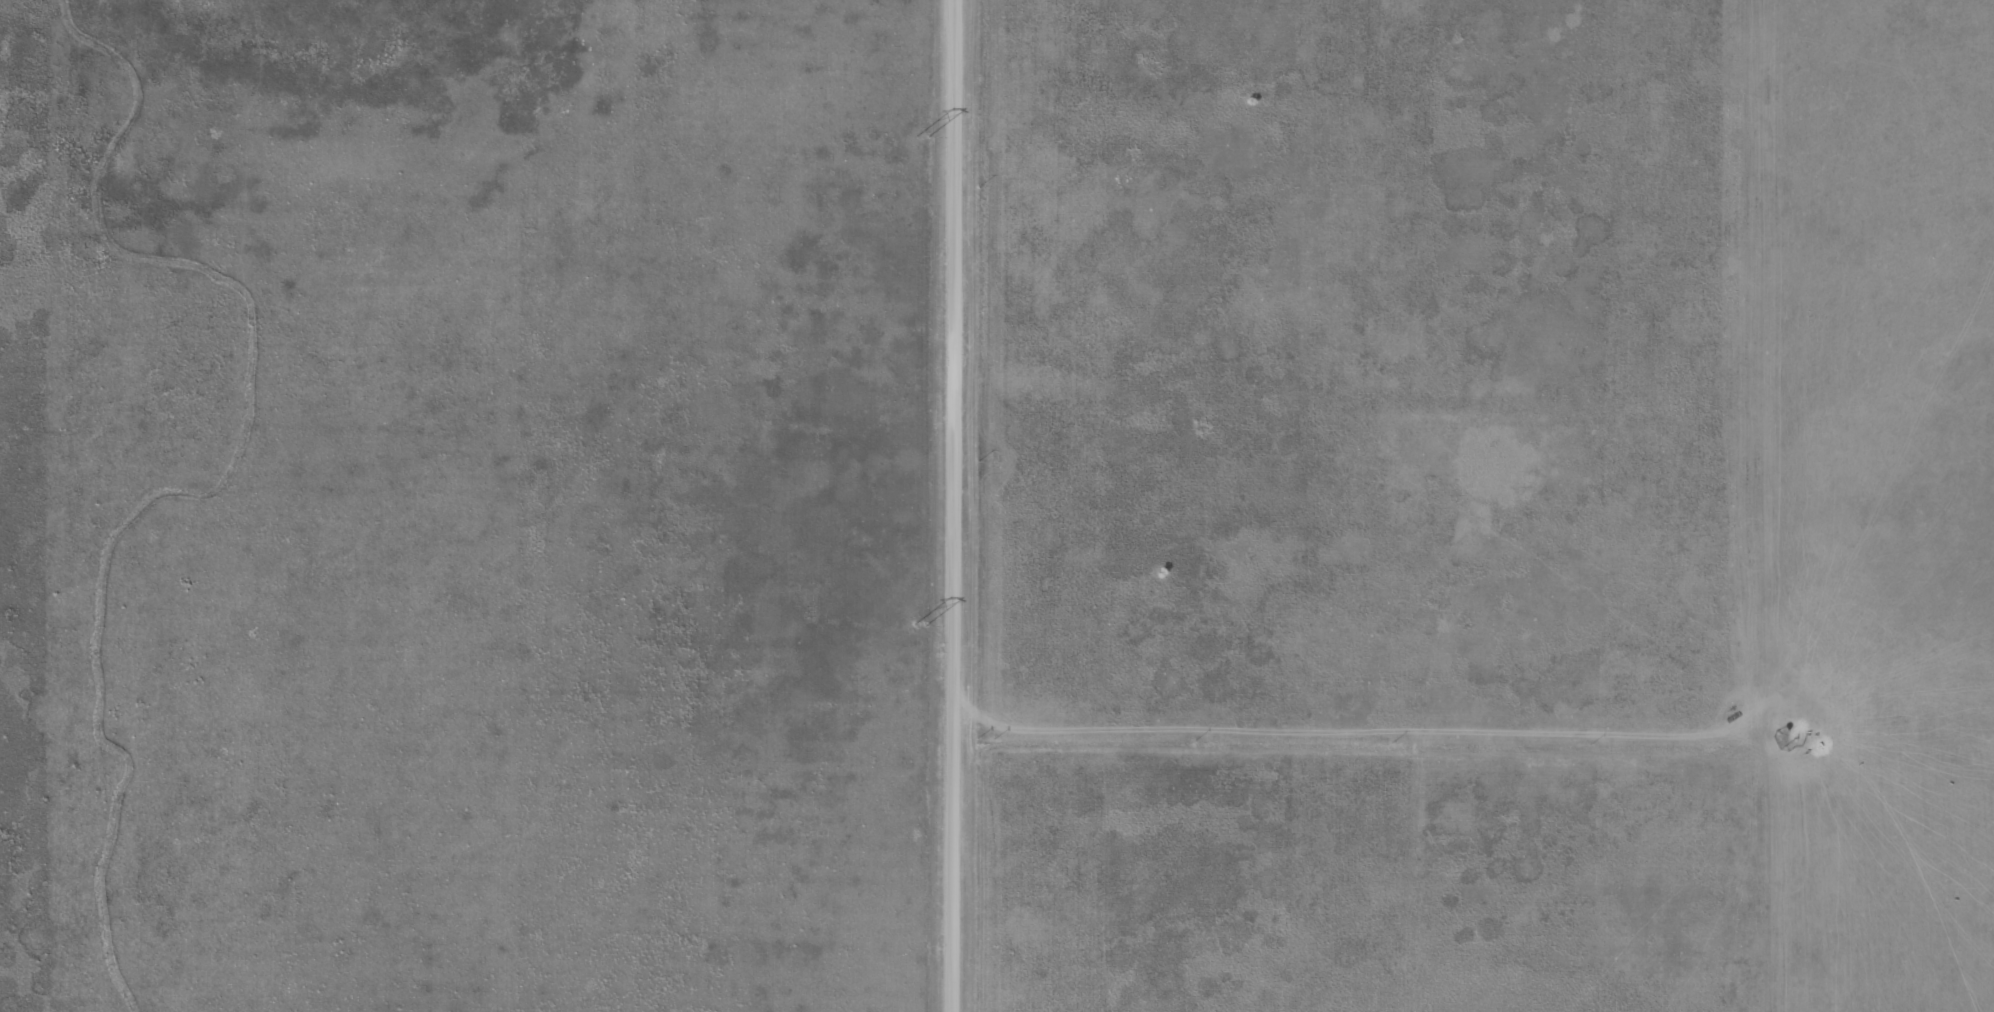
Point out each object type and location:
power tower: (917, 136)
road: (297, 149)
road: (1796, 505)
road: (974, 506)
power tower: (917, 624)
road: (1897, 758)

